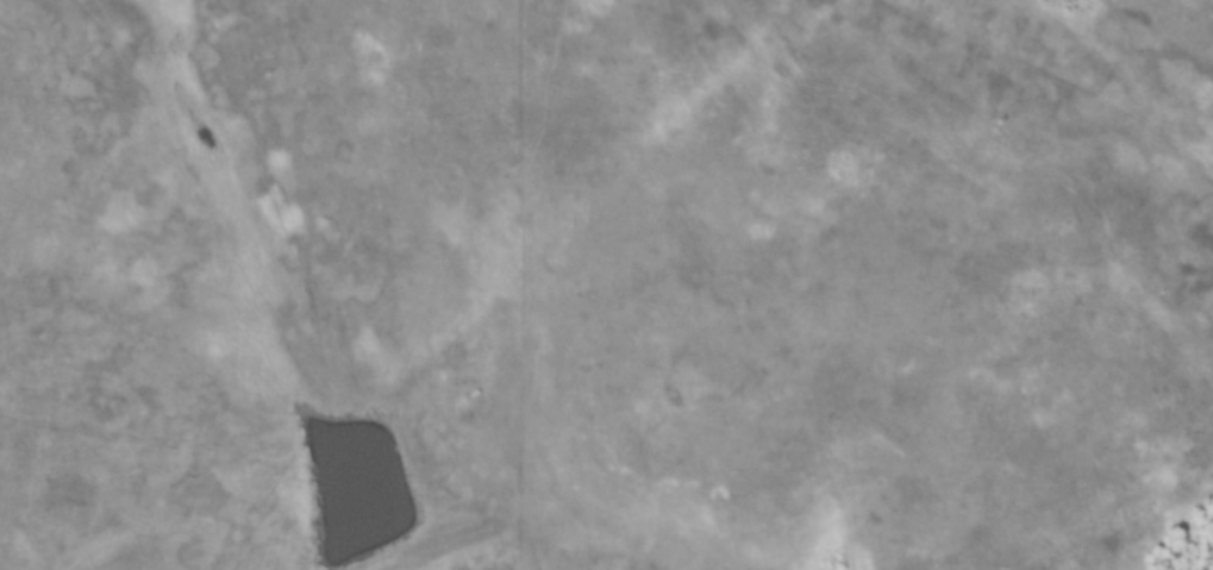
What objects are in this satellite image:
road: (1059, 77)
road: (290, 564)

